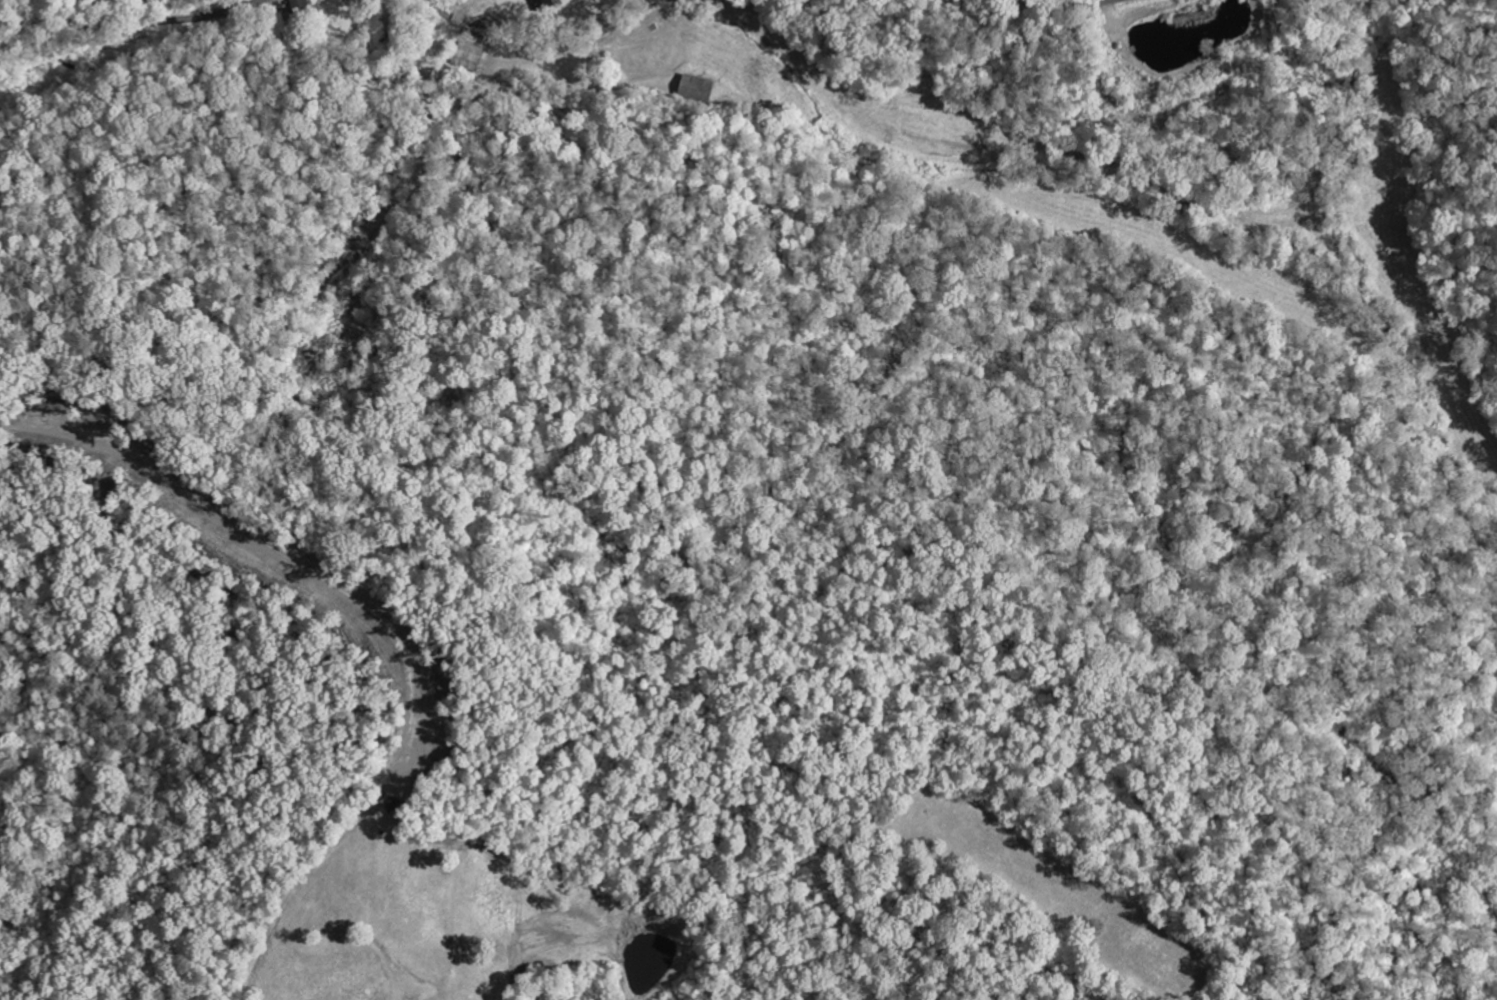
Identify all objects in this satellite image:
building: (544, 5)
building: (301, 6)
road: (1038, 6)
road: (132, 22)
building: (469, 55)
building: (697, 88)

